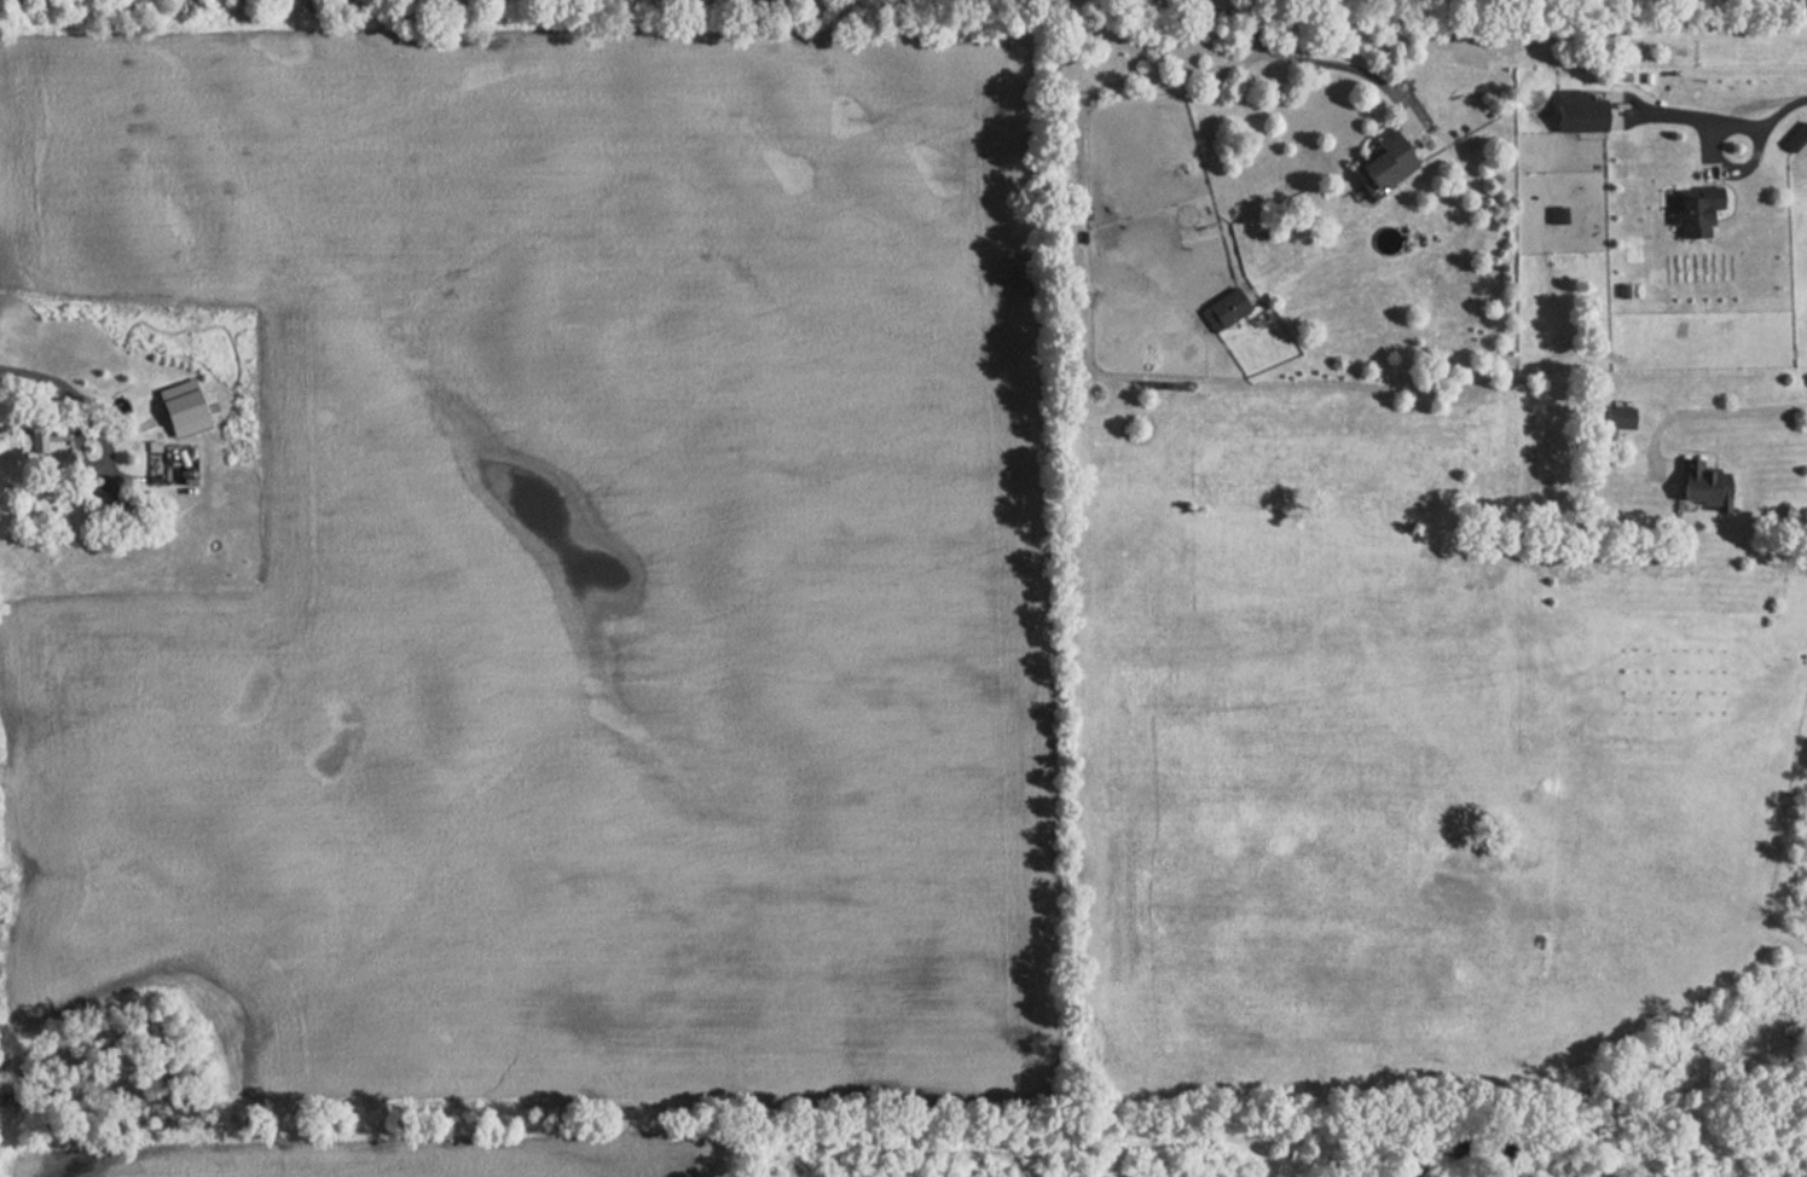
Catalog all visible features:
road: (1334, 66)
road: (1783, 109)
building: (1575, 112)
road: (1708, 164)
building: (1379, 168)
building: (1692, 211)
building: (1222, 311)
road: (1708, 413)
building: (1616, 418)
road: (36, 425)
building: (41, 443)
road: (98, 465)
building: (1692, 477)
building: (95, 494)
crop: (546, 568)
crop: (406, 1166)

